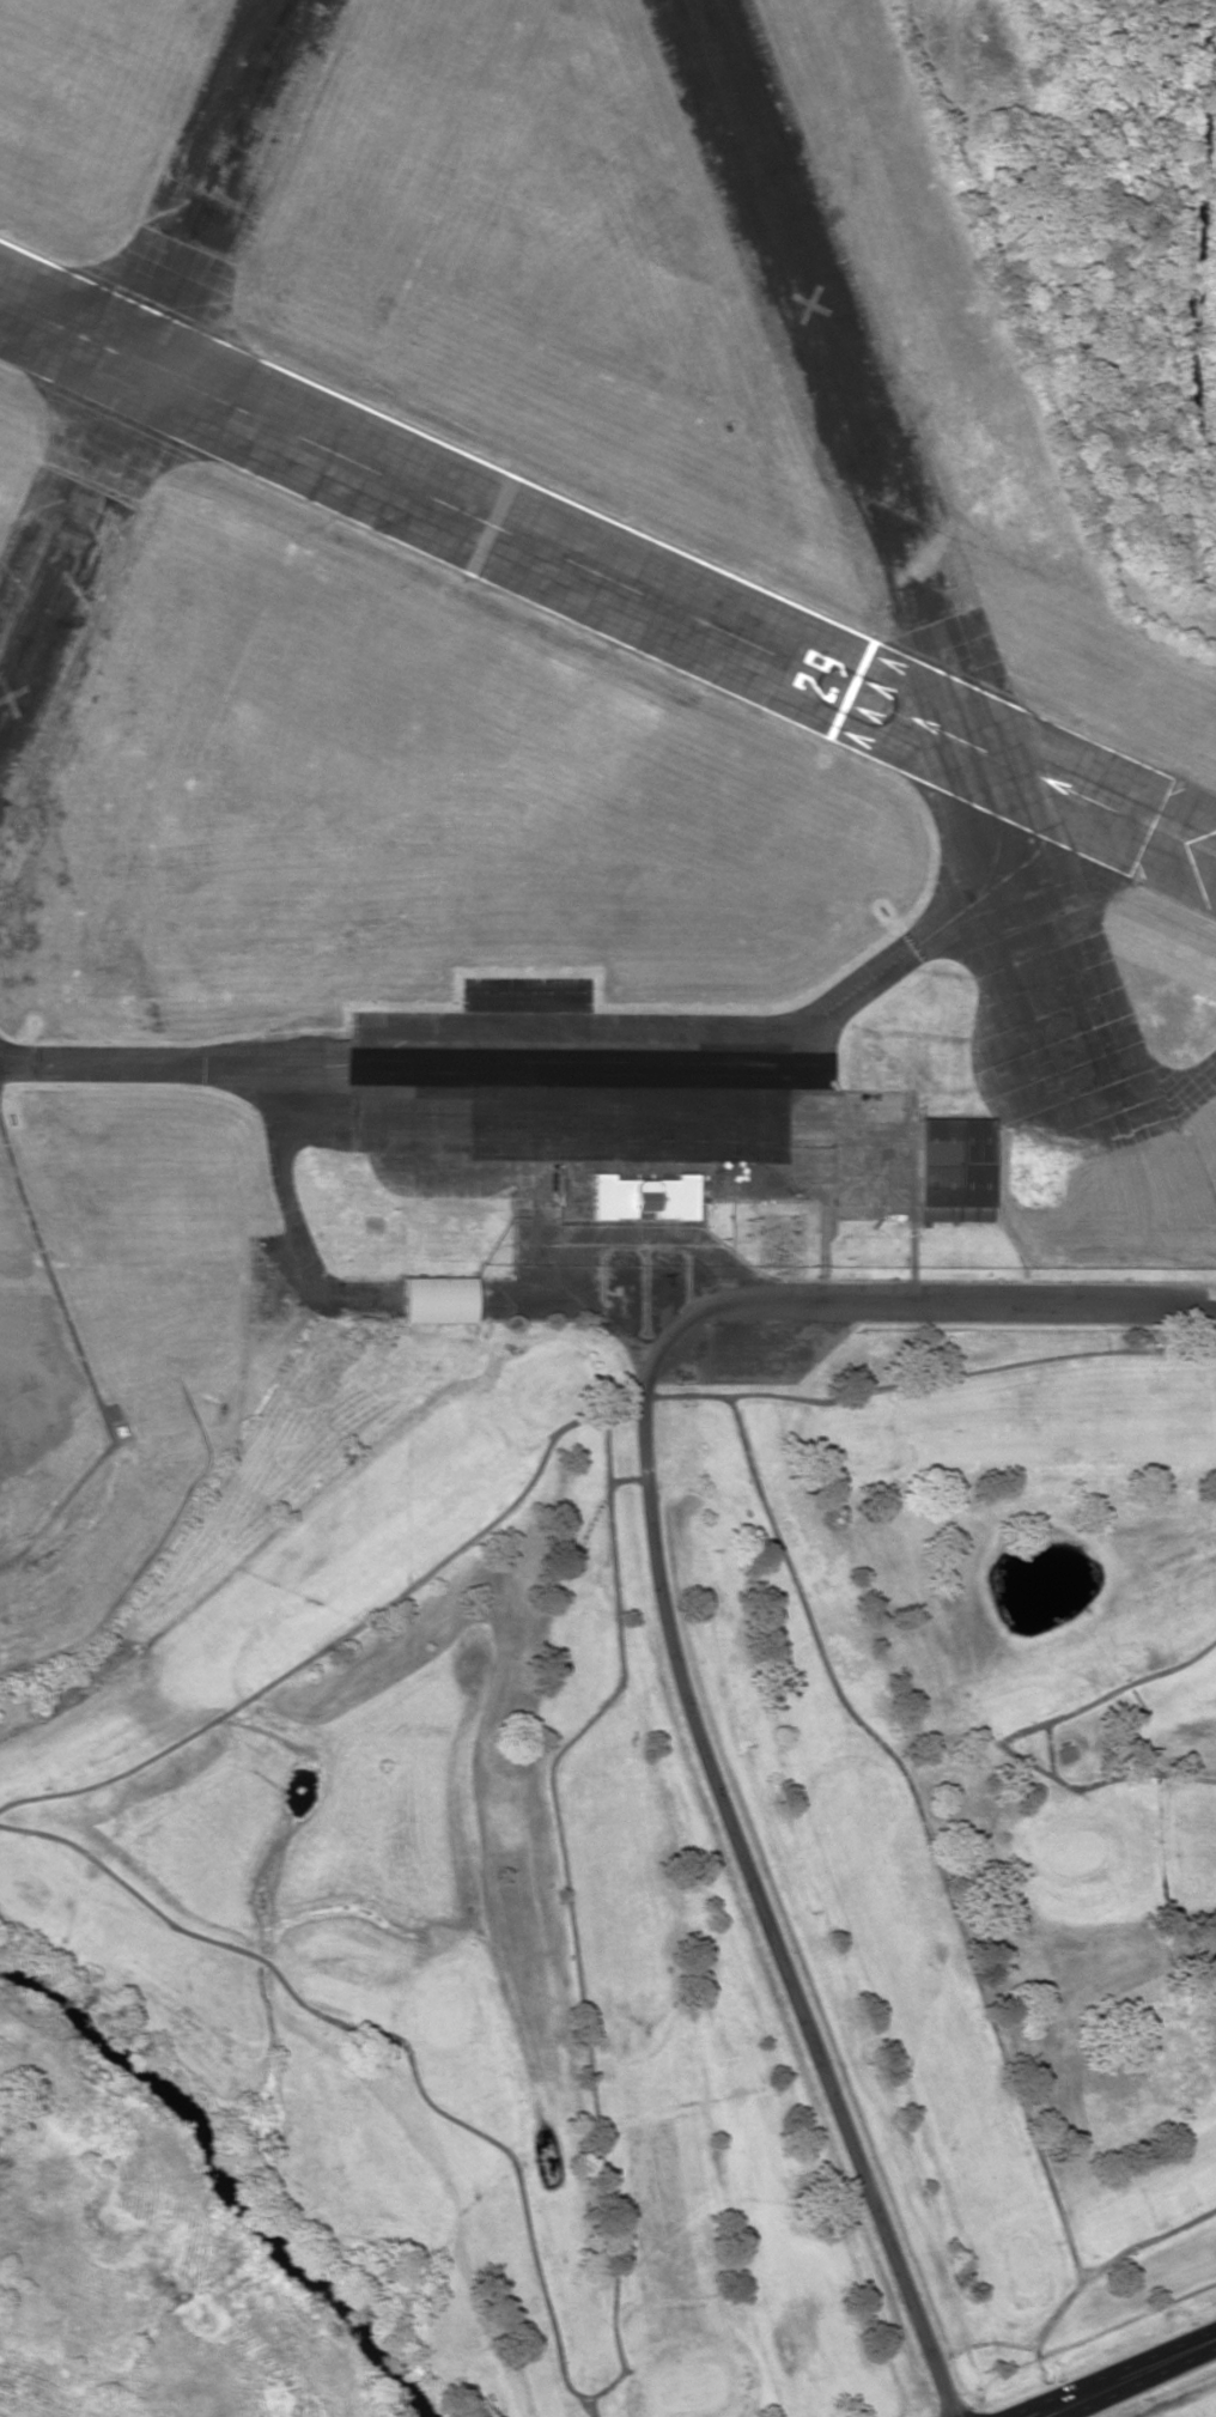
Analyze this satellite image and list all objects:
airport runway: (607, 576)
airport: (535, 715)
airport taxiway: (971, 898)
airport taxiway: (1048, 994)
airport taxiway: (411, 1037)
airport taxiway: (1161, 1100)
airport apron: (619, 1103)
building: (954, 1168)
building: (644, 1196)
building: (439, 1299)
road: (978, 1307)
road: (741, 1850)
park: (694, 1874)
road: (1126, 2379)

